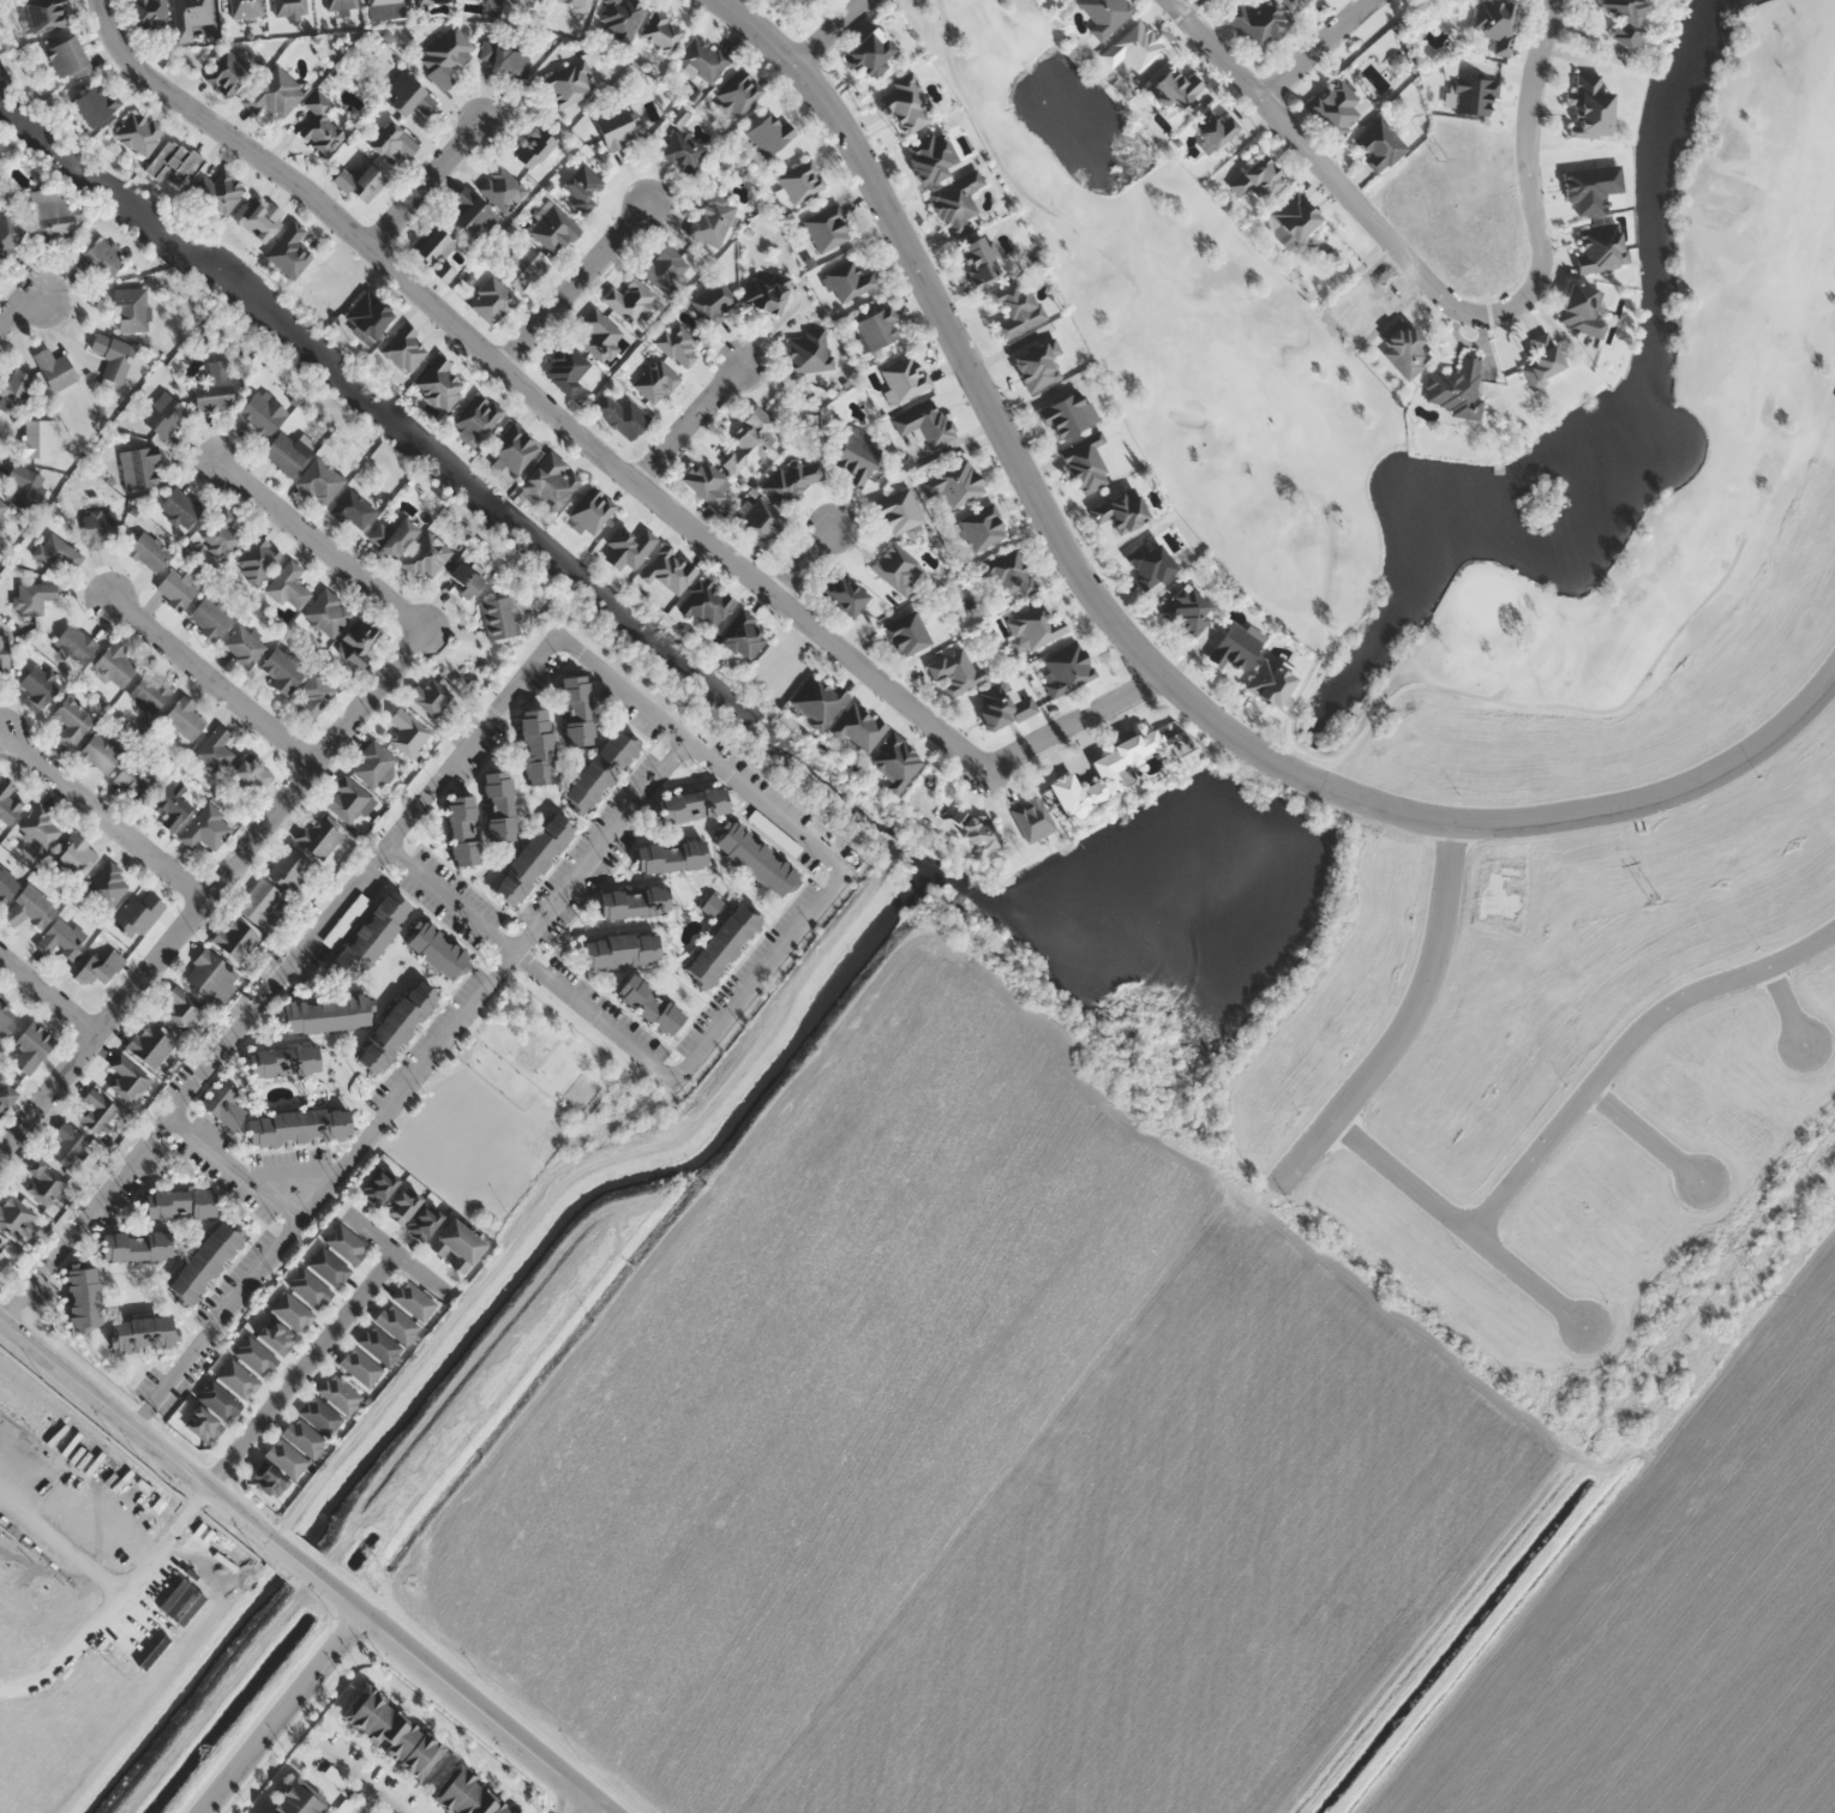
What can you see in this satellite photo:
building: (523, 0)
building: (432, 1)
building: (1288, 1)
building: (492, 2)
building: (572, 2)
building: (806, 2)
building: (341, 5)
building: (288, 7)
building: (245, 8)
building: (384, 8)
building: (149, 13)
building: (1103, 14)
building: (190, 16)
building: (47, 17)
building: (620, 17)
building: (1625, 19)
building: (1255, 23)
building: (1494, 23)
road: (836, 31)
building: (661, 32)
building: (1132, 47)
road: (1318, 49)
building: (869, 54)
building: (444, 56)
building: (66, 58)
building: (506, 59)
building: (702, 60)
building: (227, 73)
building: (570, 84)
building: (1171, 91)
building: (274, 94)
building: (738, 94)
building: (1473, 95)
building: (406, 96)
building: (94, 103)
building: (907, 104)
road: (970, 104)
building: (1335, 106)
building: (1593, 107)
building: (319, 126)
building: (613, 128)
building: (1212, 131)
building: (138, 133)
building: (768, 133)
building: (391, 145)
building: (1378, 146)
building: (532, 149)
building: (683, 150)
building: (929, 158)
power tower: (1444, 160)
building: (173, 162)
building: (1257, 180)
building: (800, 182)
building: (360, 184)
road: (426, 186)
building: (581, 187)
building: (502, 190)
building: (218, 192)
building: (954, 204)
building: (50, 215)
building: (257, 217)
building: (1293, 217)
building: (474, 218)
building: (712, 220)
building: (551, 229)
building: (826, 229)
building: (10, 234)
building: (1600, 247)
building: (288, 252)
building: (434, 252)
building: (100, 257)
building: (977, 263)
building: (522, 269)
building: (665, 269)
building: (850, 282)
road: (575, 287)
building: (766, 294)
road: (1440, 298)
building: (491, 301)
building: (630, 301)
building: (713, 301)
road: (24, 307)
building: (131, 310)
building: (1015, 310)
building: (1579, 311)
building: (365, 317)
building: (877, 329)
building: (600, 336)
building: (677, 343)
building: (404, 349)
building: (1404, 349)
building: (810, 353)
building: (112, 358)
building: (1541, 364)
building: (1037, 366)
building: (565, 368)
building: (53, 370)
building: (902, 379)
building: (655, 382)
building: (437, 384)
building: (212, 389)
building: (1457, 389)
building: (14, 392)
building: (260, 413)
building: (1067, 415)
building: (622, 416)
building: (163, 418)
building: (476, 419)
building: (925, 424)
road: (689, 426)
building: (37, 439)
building: (749, 440)
building: (512, 450)
building: (288, 452)
road: (604, 457)
building: (854, 460)
building: (1085, 464)
building: (138, 469)
building: (319, 481)
building: (550, 482)
building: (707, 482)
building: (791, 482)
building: (953, 485)
building: (23, 487)
power tower: (1541, 505)
building: (2, 508)
building: (180, 508)
building: (353, 511)
building: (1119, 511)
building: (589, 512)
building: (899, 512)
building: (758, 523)
building: (97, 528)
building: (982, 529)
building: (220, 535)
building: (391, 536)
road: (318, 539)
building: (148, 552)
building: (55, 553)
building: (426, 558)
building: (257, 560)
road: (803, 564)
building: (1150, 565)
building: (895, 570)
building: (667, 571)
building: (1009, 575)
building: (288, 588)
building: (175, 590)
building: (842, 595)
building: (32, 598)
building: (704, 604)
building: (1185, 612)
building: (328, 613)
building: (209, 618)
building: (499, 618)
building: (1032, 631)
building: (742, 636)
building: (906, 636)
building: (356, 642)
building: (74, 643)
building: (244, 647)
building: (1235, 647)
road: (1139, 650)
building: (4, 653)
building: (114, 666)
building: (1065, 671)
building: (282, 672)
building: (954, 674)
road: (212, 678)
building: (38, 684)
building: (1269, 684)
road: (1433, 684)
building: (150, 691)
building: (313, 696)
building: (431, 698)
building: (817, 702)
building: (1002, 708)
building: (576, 709)
building: (73, 720)
building: (184, 720)
building: (857, 728)
building: (407, 732)
building: (536, 746)
building: (215, 751)
building: (101, 752)
building: (895, 764)
building: (373, 766)
building: (600, 769)
building: (1104, 773)
building: (251, 775)
building: (136, 780)
building: (347, 803)
building: (8, 804)
building: (691, 804)
building: (498, 805)
building: (169, 808)
road: (104, 812)
building: (1027, 822)
building: (41, 827)
building: (206, 829)
building: (462, 829)
building: (973, 830)
building: (774, 832)
building: (317, 839)
building: (670, 854)
building: (73, 857)
building: (532, 858)
building: (755, 858)
road: (835, 868)
building: (288, 869)
building: (6, 884)
building: (107, 887)
road: (212, 892)
building: (634, 901)
power tower: (1655, 901)
building: (710, 904)
building: (260, 906)
building: (29, 908)
building: (137, 914)
building: (344, 919)
building: (368, 937)
building: (60, 938)
building: (234, 939)
building: (721, 944)
building: (436, 949)
building: (620, 949)
building: (96, 969)
building: (210, 977)
road: (48, 992)
building: (649, 1003)
road: (1786, 1004)
building: (179, 1008)
building: (325, 1013)
building: (5, 1020)
road: (1407, 1023)
building: (395, 1026)
road: (1624, 1045)
building: (149, 1046)
building: (30, 1049)
building: (282, 1061)
building: (127, 1080)
road: (408, 1083)
road: (193, 1085)
building: (5, 1098)
building: (222, 1101)
building: (97, 1112)
building: (298, 1125)
road: (1643, 1135)
building: (67, 1146)
road: (234, 1166)
building: (43, 1182)
building: (378, 1187)
building: (180, 1202)
building: (401, 1206)
building: (16, 1218)
building: (422, 1223)
road: (1458, 1224)
building: (136, 1244)
building: (344, 1244)
building: (454, 1247)
road: (396, 1253)
building: (204, 1261)
building: (328, 1267)
building: (308, 1289)
power tower: (1770, 1295)
building: (83, 1297)
building: (413, 1302)
building: (292, 1313)
building: (395, 1323)
building: (143, 1332)
building: (274, 1337)
building: (378, 1345)
building: (254, 1357)
building: (359, 1368)
road: (302, 1371)
building: (236, 1380)
building: (338, 1394)
building: (218, 1400)
building: (319, 1416)
building: (200, 1425)
building: (302, 1437)
building: (286, 1458)
road: (180, 1467)
crop: (973, 1469)
building: (268, 1482)
crop: (86, 1592)
road: (281, 1713)
road: (481, 1713)
building: (389, 1731)
building: (463, 1795)
building: (294, 1800)

